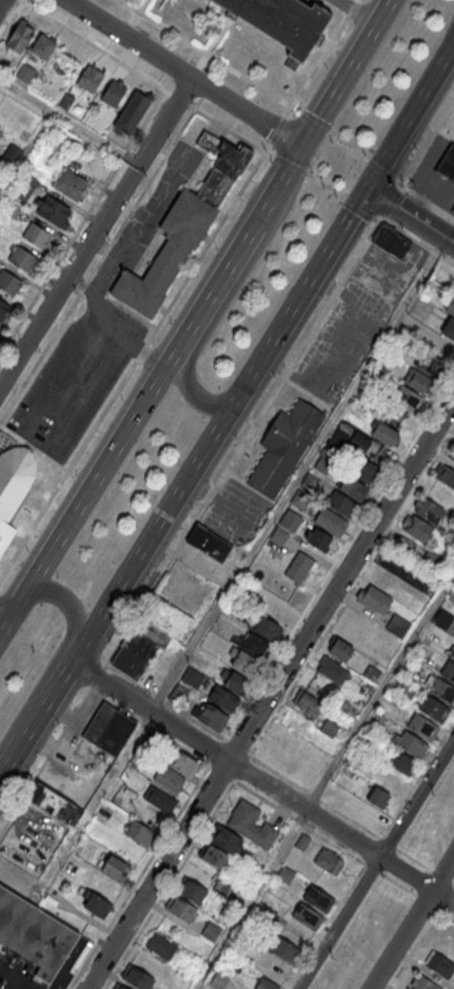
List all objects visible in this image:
road: (1, 1)
road: (11, 19)
building: (281, 21)
building: (21, 35)
building: (42, 46)
road: (209, 56)
building: (25, 73)
road: (182, 73)
building: (89, 78)
road: (147, 78)
building: (113, 92)
building: (65, 100)
building: (131, 112)
road: (69, 121)
traffic signals: (300, 147)
building: (12, 152)
building: (447, 163)
building: (2, 178)
building: (70, 184)
building: (26, 185)
traffic signals: (368, 190)
road: (428, 201)
building: (11, 207)
building: (53, 210)
road: (143, 212)
road: (411, 217)
road: (82, 221)
building: (183, 229)
road: (95, 233)
building: (37, 234)
road: (411, 238)
building: (391, 242)
road: (103, 248)
building: (22, 257)
building: (442, 275)
building: (9, 282)
road: (222, 304)
building: (450, 306)
building: (3, 309)
road: (195, 315)
parking lot: (355, 320)
road: (108, 326)
building: (449, 328)
parking lot: (98, 329)
road: (265, 355)
building: (435, 356)
road: (132, 364)
building: (417, 380)
building: (405, 397)
building: (379, 436)
road: (244, 440)
building: (283, 445)
building: (452, 456)
building: (364, 469)
building: (444, 474)
building: (14, 485)
building: (298, 500)
building: (342, 503)
building: (427, 510)
parking lot: (235, 511)
building: (290, 520)
building: (331, 521)
building: (416, 526)
building: (279, 536)
building: (317, 538)
building: (209, 543)
building: (432, 558)
road: (243, 563)
building: (298, 566)
building: (385, 579)
building: (422, 592)
building: (451, 595)
building: (374, 597)
building: (276, 609)
road: (2, 618)
building: (442, 620)
building: (161, 622)
building: (397, 625)
building: (265, 628)
building: (253, 644)
building: (340, 648)
road: (60, 653)
building: (132, 654)
building: (452, 654)
building: (242, 661)
building: (332, 670)
building: (448, 670)
building: (372, 673)
road: (97, 675)
building: (193, 676)
building: (235, 682)
building: (406, 689)
building: (443, 690)
road: (270, 693)
road: (374, 696)
building: (222, 697)
building: (308, 702)
building: (433, 708)
building: (208, 714)
road: (36, 721)
building: (422, 726)
road: (207, 727)
building: (329, 727)
building: (109, 729)
building: (409, 742)
road: (46, 759)
building: (401, 761)
building: (182, 762)
building: (168, 778)
building: (389, 779)
road: (263, 783)
road: (313, 796)
building: (378, 797)
building: (159, 798)
building: (54, 803)
road: (271, 803)
building: (250, 824)
building: (138, 831)
road: (375, 835)
building: (225, 838)
building: (215, 856)
building: (329, 860)
road: (375, 862)
building: (115, 867)
building: (285, 873)
road: (441, 876)
road: (452, 882)
building: (222, 885)
building: (192, 890)
building: (318, 898)
building: (97, 905)
building: (180, 908)
building: (307, 915)
building: (267, 916)
road: (412, 919)
building: (211, 930)
building: (34, 934)
building: (161, 945)
building: (283, 948)
road: (412, 948)
building: (440, 964)
building: (137, 977)
building: (219, 979)
building: (423, 983)
building: (265, 984)
building: (119, 986)

